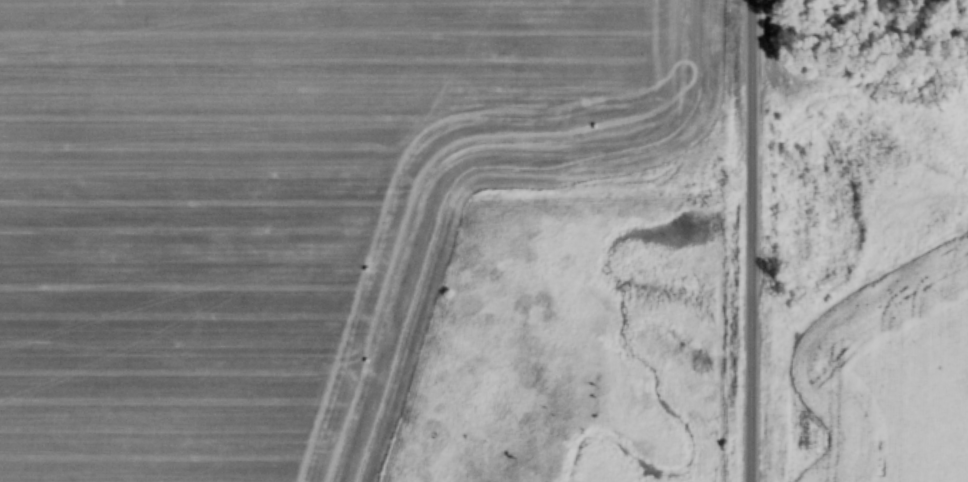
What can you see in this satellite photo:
road: (750, 240)

